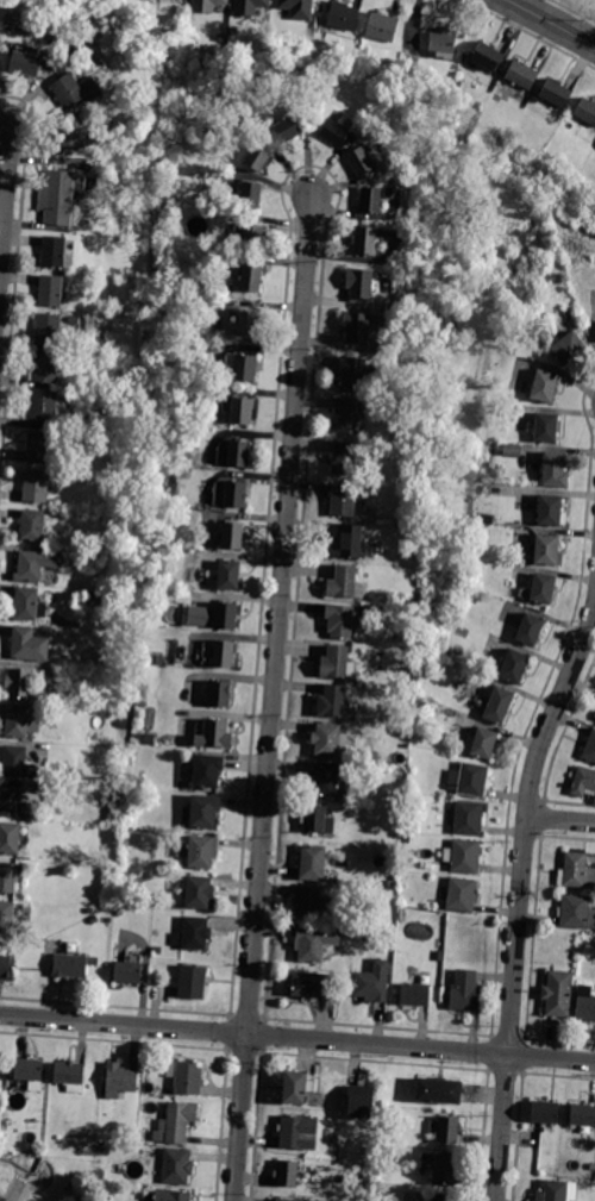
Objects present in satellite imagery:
building: (207, 5)
building: (250, 6)
building: (297, 8)
road: (576, 8)
building: (343, 15)
road: (549, 24)
building: (382, 26)
building: (233, 31)
road: (528, 32)
building: (221, 37)
building: (443, 45)
building: (487, 56)
building: (25, 63)
building: (413, 65)
building: (521, 75)
building: (76, 89)
building: (556, 93)
building: (585, 110)
building: (287, 130)
building: (71, 132)
building: (334, 132)
building: (501, 137)
building: (258, 156)
building: (361, 161)
building: (104, 183)
road: (5, 192)
building: (251, 195)
building: (59, 196)
building: (370, 199)
building: (252, 238)
building: (365, 239)
building: (54, 251)
building: (251, 279)
building: (359, 283)
building: (51, 290)
building: (249, 324)
building: (357, 326)
building: (49, 327)
building: (569, 348)
building: (46, 367)
building: (244, 368)
building: (353, 371)
building: (545, 387)
building: (44, 406)
building: (242, 411)
building: (349, 415)
building: (546, 427)
building: (39, 448)
building: (513, 450)
building: (239, 453)
building: (344, 458)
building: (449, 461)
building: (555, 469)
building: (111, 477)
building: (36, 488)
building: (236, 494)
building: (344, 500)
building: (459, 500)
building: (551, 511)
building: (108, 517)
building: (32, 525)
building: (231, 534)
building: (347, 540)
building: (546, 549)
building: (36, 564)
building: (228, 575)
building: (112, 581)
building: (345, 583)
building: (543, 588)
building: (29, 605)
building: (213, 615)
building: (339, 620)
building: (108, 625)
building: (531, 630)
building: (30, 645)
building: (225, 655)
building: (158, 658)
building: (336, 662)
building: (514, 667)
building: (357, 673)
building: (20, 683)
building: (220, 693)
road: (273, 700)
building: (332, 701)
building: (499, 705)
building: (23, 720)
building: (214, 734)
building: (150, 739)
building: (330, 740)
building: (484, 743)
building: (589, 749)
building: (18, 763)
building: (208, 770)
building: (324, 780)
building: (470, 780)
building: (139, 782)
building: (584, 782)
building: (14, 802)
building: (202, 812)
building: (469, 818)
building: (318, 820)
road: (559, 820)
building: (10, 838)
building: (202, 851)
building: (464, 856)
building: (313, 862)
building: (576, 871)
building: (7, 877)
building: (392, 884)
building: (198, 892)
building: (461, 894)
road: (520, 895)
building: (308, 901)
building: (577, 912)
building: (7, 917)
building: (193, 934)
building: (315, 943)
building: (70, 965)
building: (7, 968)
building: (127, 972)
building: (372, 981)
building: (193, 982)
building: (313, 984)
building: (466, 992)
building: (558, 993)
building: (415, 994)
building: (585, 1003)
road: (297, 1038)
building: (30, 1071)
building: (70, 1075)
building: (187, 1076)
building: (120, 1080)
building: (295, 1087)
building: (439, 1090)
building: (361, 1101)
building: (545, 1112)
building: (582, 1115)
building: (176, 1122)
building: (445, 1128)
building: (297, 1132)
building: (101, 1138)
building: (333, 1139)
building: (371, 1150)
building: (176, 1166)
building: (445, 1169)
building: (288, 1174)
building: (368, 1176)
building: (557, 1191)
building: (173, 1195)
building: (443, 1197)
building: (0, 1199)
building: (284, 1200)

